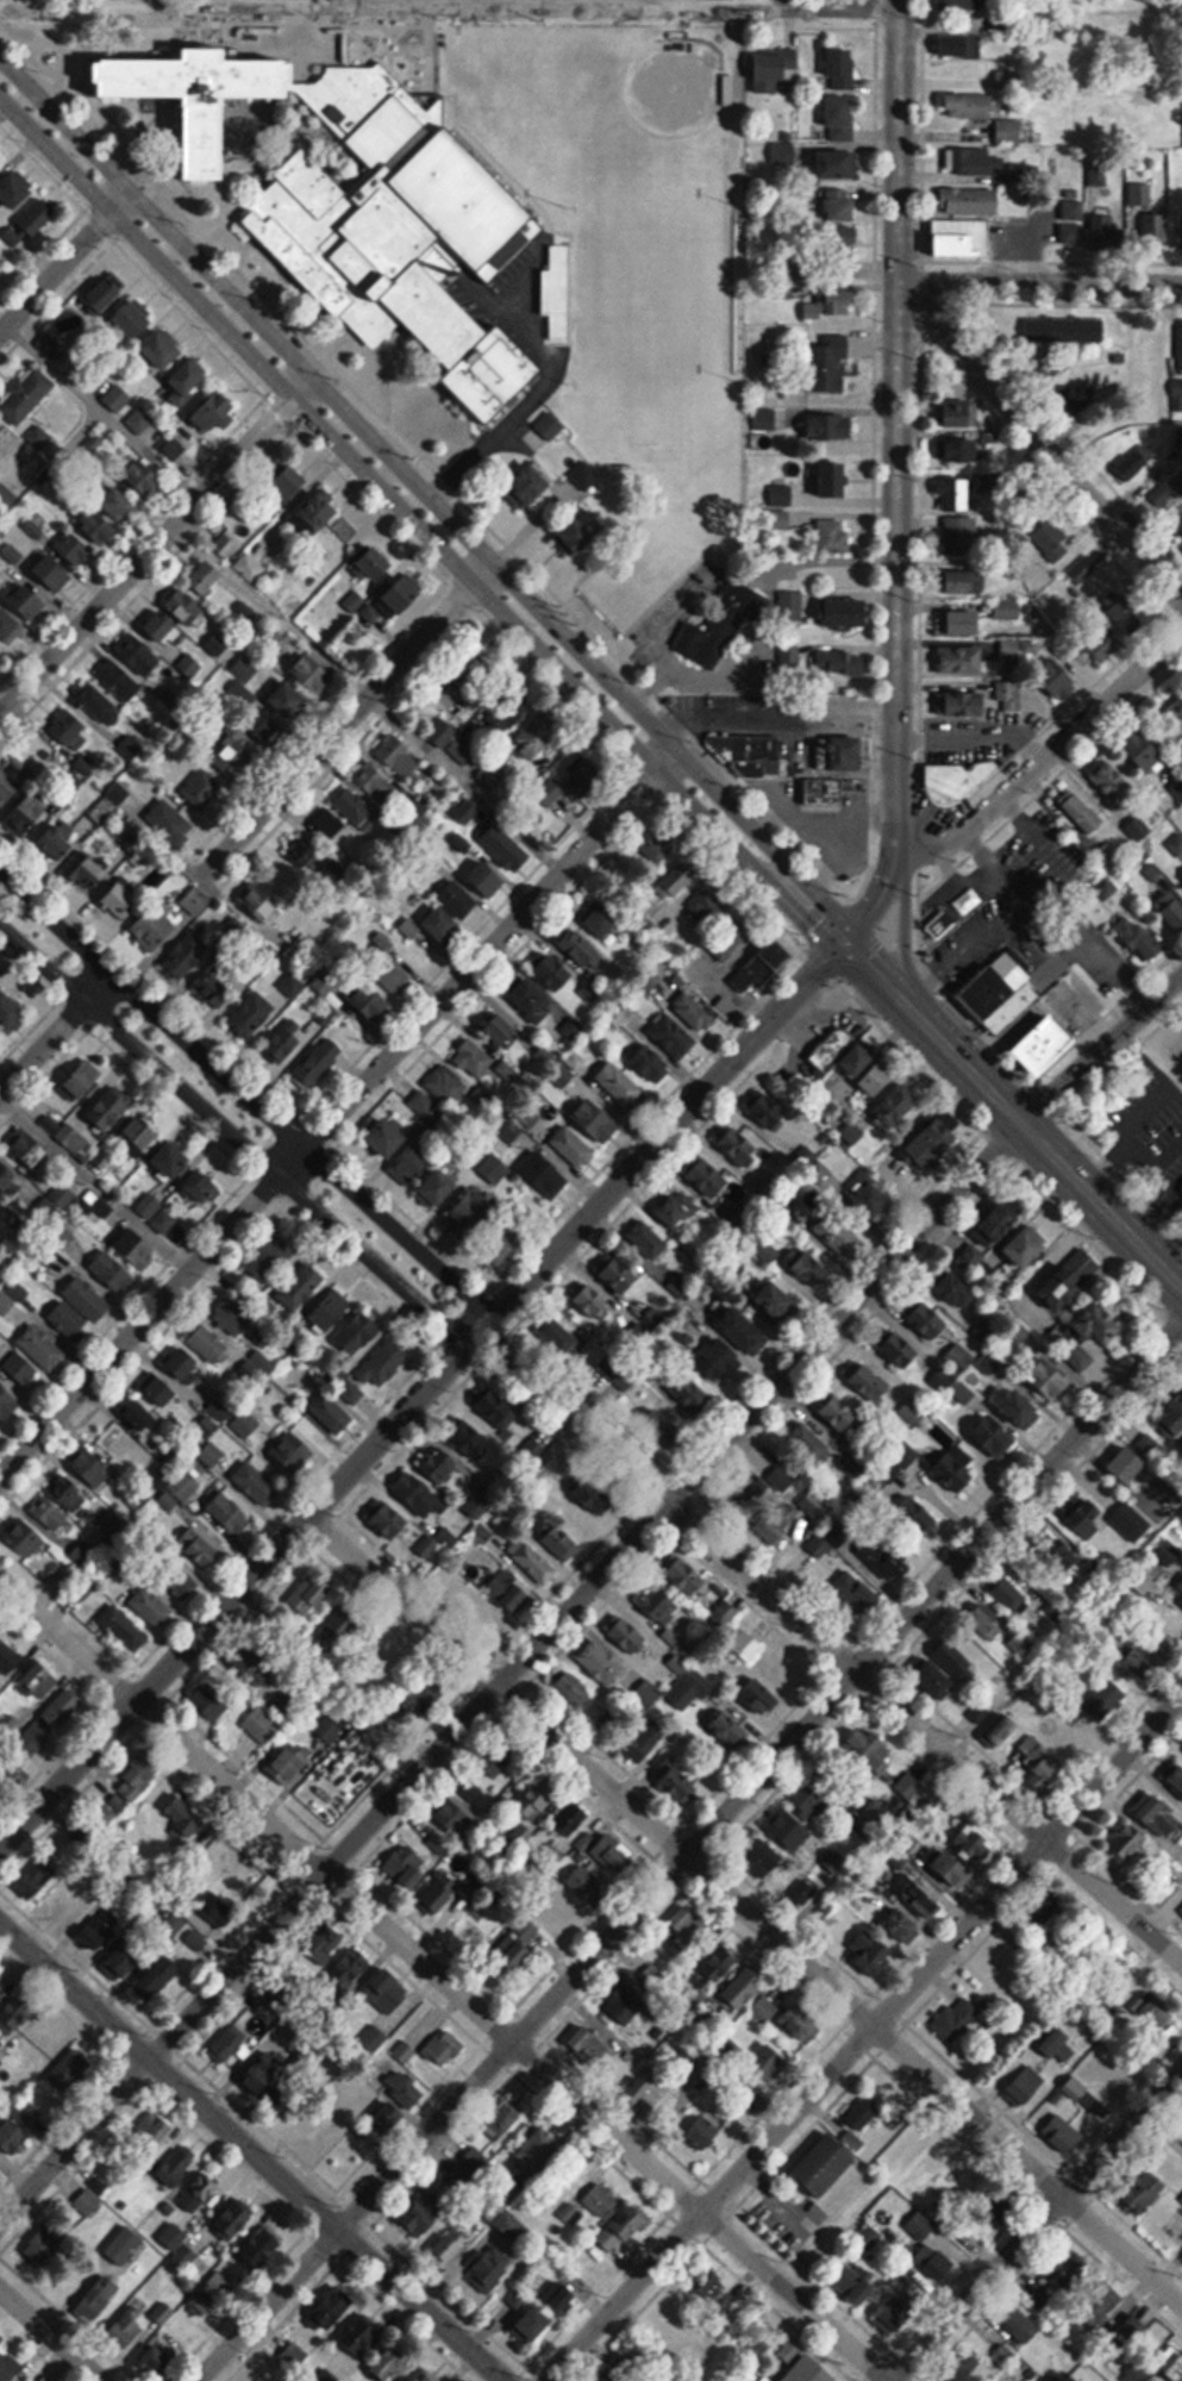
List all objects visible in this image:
road: (450, 6)
building: (959, 48)
building: (842, 69)
building: (774, 70)
building: (189, 100)
building: (974, 107)
building: (368, 112)
building: (842, 119)
park: (637, 123)
building: (1009, 132)
building: (0, 157)
building: (974, 163)
building: (838, 165)
building: (15, 189)
building: (970, 201)
building: (843, 207)
building: (1150, 214)
building: (36, 218)
building: (1074, 224)
building: (1114, 226)
building: (1180, 227)
building: (963, 238)
building: (396, 256)
road: (65, 258)
building: (1, 263)
road: (1039, 281)
park: (649, 286)
building: (107, 293)
building: (831, 305)
building: (135, 320)
building: (1083, 330)
building: (1181, 342)
building: (163, 350)
building: (825, 367)
building: (188, 382)
building: (1176, 395)
building: (24, 399)
building: (115, 399)
road: (518, 399)
building: (1077, 400)
building: (214, 413)
building: (961, 413)
building: (765, 419)
road: (895, 425)
building: (549, 426)
building: (831, 427)
building: (1, 438)
building: (38, 438)
road: (1039, 442)
building: (173, 449)
building: (958, 454)
building: (1134, 464)
building: (140, 480)
building: (834, 480)
building: (290, 486)
building: (529, 487)
road: (427, 493)
building: (1163, 495)
building: (117, 504)
building: (318, 515)
road: (417, 524)
building: (96, 526)
building: (586, 531)
building: (1178, 531)
building: (963, 536)
building: (833, 537)
building: (1052, 540)
road: (155, 542)
building: (224, 545)
building: (73, 548)
building: (336, 554)
building: (377, 565)
building: (249, 568)
building: (49, 569)
building: (1082, 570)
building: (206, 577)
building: (965, 583)
building: (405, 598)
building: (29, 601)
building: (354, 602)
building: (187, 608)
building: (1011, 611)
building: (1122, 612)
building: (849, 615)
building: (963, 623)
building: (8, 626)
building: (723, 627)
building: (162, 629)
building: (1103, 645)
building: (1014, 652)
building: (138, 655)
building: (962, 660)
building: (830, 664)
building: (475, 671)
building: (312, 674)
building: (1061, 677)
building: (119, 681)
building: (242, 685)
building: (1007, 692)
building: (289, 702)
building: (963, 705)
building: (100, 706)
building: (1175, 711)
road: (771, 713)
road: (342, 718)
building: (71, 730)
building: (268, 731)
building: (442, 733)
building: (537, 736)
building: (1146, 752)
building: (840, 755)
building: (237, 757)
road: (1044, 757)
building: (399, 758)
building: (758, 764)
building: (581, 775)
building: (11, 779)
building: (957, 781)
building: (377, 785)
building: (1114, 785)
building: (202, 790)
building: (826, 793)
building: (117, 795)
building: (356, 810)
building: (1081, 812)
building: (27, 815)
building: (171, 824)
building: (330, 825)
building: (1139, 830)
building: (55, 844)
building: (1176, 845)
building: (655, 846)
building: (505, 850)
building: (302, 854)
building: (87, 873)
building: (1108, 873)
building: (681, 876)
building: (486, 879)
building: (290, 889)
building: (119, 900)
road: (878, 902)
building: (259, 906)
building: (707, 907)
building: (1170, 910)
building: (451, 913)
building: (601, 920)
road: (895, 921)
building: (942, 926)
building: (154, 930)
building: (1138, 939)
building: (299, 949)
building: (582, 951)
building: (186, 957)
building: (778, 957)
road: (870, 967)
building: (555, 973)
building: (219, 986)
building: (1001, 994)
building: (533, 1002)
building: (373, 1004)
building: (10, 1013)
building: (695, 1014)
building: (252, 1017)
building: (500, 1029)
road: (55, 1032)
building: (675, 1037)
building: (288, 1038)
building: (1047, 1046)
road: (1101, 1050)
building: (473, 1058)
building: (319, 1062)
building: (857, 1062)
building: (651, 1064)
road: (252, 1075)
building: (82, 1080)
building: (620, 1085)
building: (446, 1086)
road: (248, 1096)
building: (423, 1104)
building: (898, 1107)
building: (768, 1110)
road: (337, 1111)
building: (93, 1118)
building: (598, 1119)
building: (139, 1135)
road: (234, 1136)
building: (387, 1136)
building: (937, 1139)
road: (1038, 1139)
building: (737, 1144)
building: (30, 1146)
road: (226, 1152)
building: (173, 1158)
building: (556, 1160)
building: (414, 1163)
building: (494, 1168)
building: (6, 1174)
building: (706, 1176)
building: (201, 1187)
building: (438, 1188)
building: (871, 1195)
building: (149, 1205)
building: (473, 1207)
building: (677, 1208)
building: (1002, 1220)
building: (838, 1232)
building: (646, 1239)
building: (1026, 1246)
building: (137, 1248)
building: (970, 1257)
building: (269, 1258)
building: (808, 1267)
building: (112, 1270)
building: (618, 1273)
building: (1070, 1277)
building: (300, 1286)
building: (957, 1291)
building: (88, 1298)
building: (776, 1300)
building: (594, 1302)
building: (330, 1310)
building: (231, 1318)
building: (68, 1319)
building: (930, 1319)
building: (1100, 1324)
building: (743, 1329)
building: (357, 1333)
building: (567, 1341)
building: (208, 1342)
building: (42, 1346)
building: (900, 1348)
building: (1074, 1352)
building: (719, 1358)
building: (183, 1363)
building: (382, 1367)
building: (21, 1368)
building: (1051, 1376)
building: (870, 1383)
building: (158, 1387)
road: (420, 1392)
building: (963, 1392)
building: (692, 1393)
building: (7, 1402)
building: (1019, 1404)
building: (502, 1406)
building: (320, 1411)
building: (837, 1412)
building: (140, 1416)
building: (1171, 1418)
building: (0, 1423)
building: (659, 1431)
building: (994, 1433)
building: (469, 1437)
building: (811, 1443)
building: (293, 1451)
building: (211, 1454)
building: (1137, 1457)
building: (438, 1463)
building: (92, 1466)
building: (958, 1468)
building: (158, 1477)
building: (780, 1477)
building: (256, 1483)
building: (183, 1486)
building: (415, 1492)
building: (595, 1494)
building: (76, 1496)
building: (812, 1501)
building: (50, 1512)
building: (230, 1512)
building: (1088, 1514)
building: (914, 1517)
building: (387, 1518)
building: (776, 1521)
building: (25, 1536)
building: (557, 1538)
building: (818, 1545)
building: (199, 1548)
building: (1065, 1548)
building: (883, 1560)
building: (532, 1561)
building: (687, 1575)
building: (179, 1580)
building: (458, 1582)
building: (1178, 1591)
building: (311, 1592)
building: (514, 1592)
building: (856, 1594)
building: (1008, 1595)
building: (658, 1605)
building: (151, 1606)
building: (489, 1614)
building: (723, 1614)
building: (983, 1623)
building: (342, 1625)
building: (124, 1627)
building: (628, 1635)
building: (748, 1645)
road: (831, 1645)
building: (386, 1650)
building: (8, 1658)
building: (955, 1660)
building: (601, 1663)
road: (509, 1670)
building: (933, 1676)
building: (40, 1681)
building: (573, 1688)
building: (689, 1689)
building: (758, 1696)
building: (418, 1699)
building: (1103, 1700)
building: (211, 1701)
building: (62, 1711)
building: (287, 1713)
building: (380, 1717)
building: (612, 1718)
building: (261, 1725)
building: (726, 1732)
building: (1070, 1736)
building: (650, 1737)
building: (869, 1748)
building: (306, 1750)
building: (44, 1754)
building: (1044, 1769)
building: (1175, 1775)
building: (136, 1781)
building: (678, 1783)
building: (319, 1793)
building: (538, 1798)
building: (182, 1814)
building: (1159, 1816)
building: (99, 1817)
building: (455, 1817)
building: (570, 1818)
building: (796, 1819)
building: (80, 1839)
building: (1128, 1842)
road: (687, 1851)
building: (215, 1855)
building: (614, 1855)
building: (965, 1855)
building: (549, 1856)
building: (765, 1864)
building: (405, 1867)
building: (256, 1870)
building: (40, 1874)
building: (587, 1886)
building: (801, 1892)
building: (439, 1893)
building: (917, 1895)
building: (75, 1900)
building: (213, 1905)
road: (745, 1910)
building: (1181, 1910)
building: (563, 1911)
building: (1049, 1916)
building: (101, 1925)
building: (902, 1925)
building: (686, 1931)
building: (195, 1941)
building: (518, 1945)
building: (131, 1952)
building: (871, 1952)
building: (319, 1954)
building: (718, 1964)
building: (348, 1975)
building: (157, 1976)
road: (442, 1977)
building: (652, 1979)
building: (744, 1986)
building: (626, 2001)
building: (763, 2010)
building: (1152, 2011)
building: (374, 2013)
building: (964, 2014)
building: (15, 2016)
building: (800, 2023)
building: (49, 2038)
road: (863, 2039)
building: (589, 2042)
building: (229, 2045)
building: (1064, 2046)
building: (444, 2048)
building: (404, 2051)
building: (0, 2062)
building: (769, 2062)
building: (71, 2071)
building: (261, 2071)
building: (650, 2085)
building: (286, 2093)
building: (398, 2104)
building: (864, 2114)
building: (709, 2125)
building: (154, 2126)
building: (319, 2131)
building: (12, 2133)
building: (1177, 2137)
building: (533, 2149)
road: (252, 2151)
building: (474, 2162)
building: (825, 2164)
building: (176, 2167)
building: (1146, 2191)
building: (1181, 2198)
building: (600, 2199)
building: (195, 2202)
building: (87, 2204)
building: (569, 2214)
building: (233, 2219)
building: (419, 2219)
road: (1038, 2225)
building: (511, 2226)
building: (623, 2230)
building: (46, 2241)
building: (448, 2243)
building: (125, 2245)
building: (262, 2248)
building: (185, 2256)
building: (936, 2262)
building: (489, 2270)
building: (856, 2282)
building: (1057, 2282)
building: (561, 2296)
building: (211, 2298)
building: (96, 2300)
building: (332, 2307)
building: (898, 2310)
building: (161, 2314)
building: (536, 2324)
building: (1020, 2326)
building: (361, 2335)
road: (49, 2336)
building: (292, 2357)
building: (156, 2361)
building: (390, 2363)
building: (8, 2367)
building: (1176, 2369)
building: (809, 2370)
building: (620, 2371)
building: (1137, 2374)
building: (957, 2375)
building: (426, 2376)

